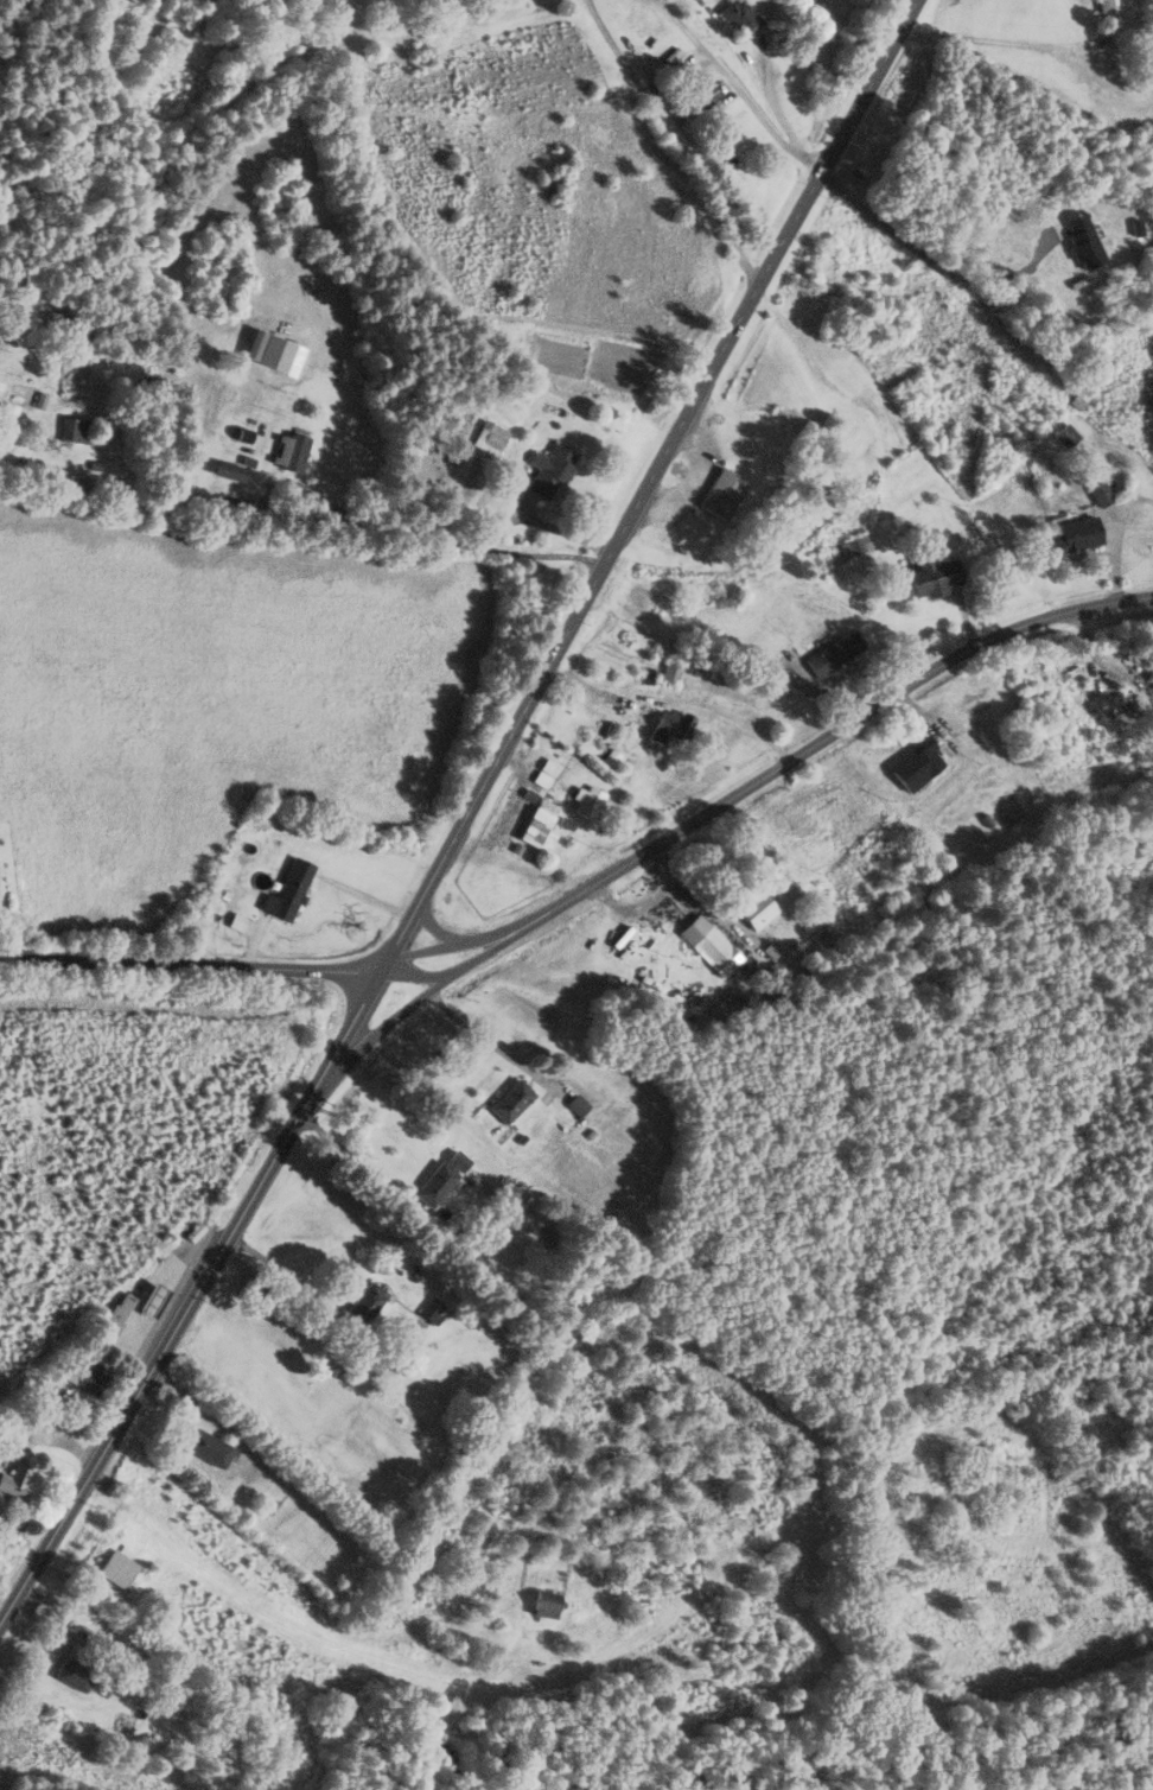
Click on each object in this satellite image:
building: (1111, 14)
building: (744, 18)
road: (739, 87)
building: (272, 351)
building: (1085, 400)
building: (81, 431)
building: (492, 440)
building: (298, 455)
building: (553, 471)
building: (727, 495)
building: (1106, 496)
road: (642, 499)
building: (1081, 535)
road: (463, 545)
building: (860, 547)
building: (939, 579)
building: (839, 655)
building: (675, 673)
road: (858, 719)
building: (671, 728)
building: (921, 766)
building: (593, 804)
building: (543, 827)
building: (292, 893)
building: (758, 909)
road: (439, 932)
road: (486, 935)
building: (713, 946)
road: (490, 952)
road: (192, 961)
road: (377, 1032)
building: (515, 1103)
building: (580, 1106)
building: (444, 1180)
road: (310, 1290)
building: (369, 1305)
road: (183, 1310)
building: (434, 1310)
building: (119, 1316)
building: (91, 1382)
building: (210, 1448)
building: (18, 1483)
building: (120, 1569)
building: (547, 1610)
building: (81, 1677)

